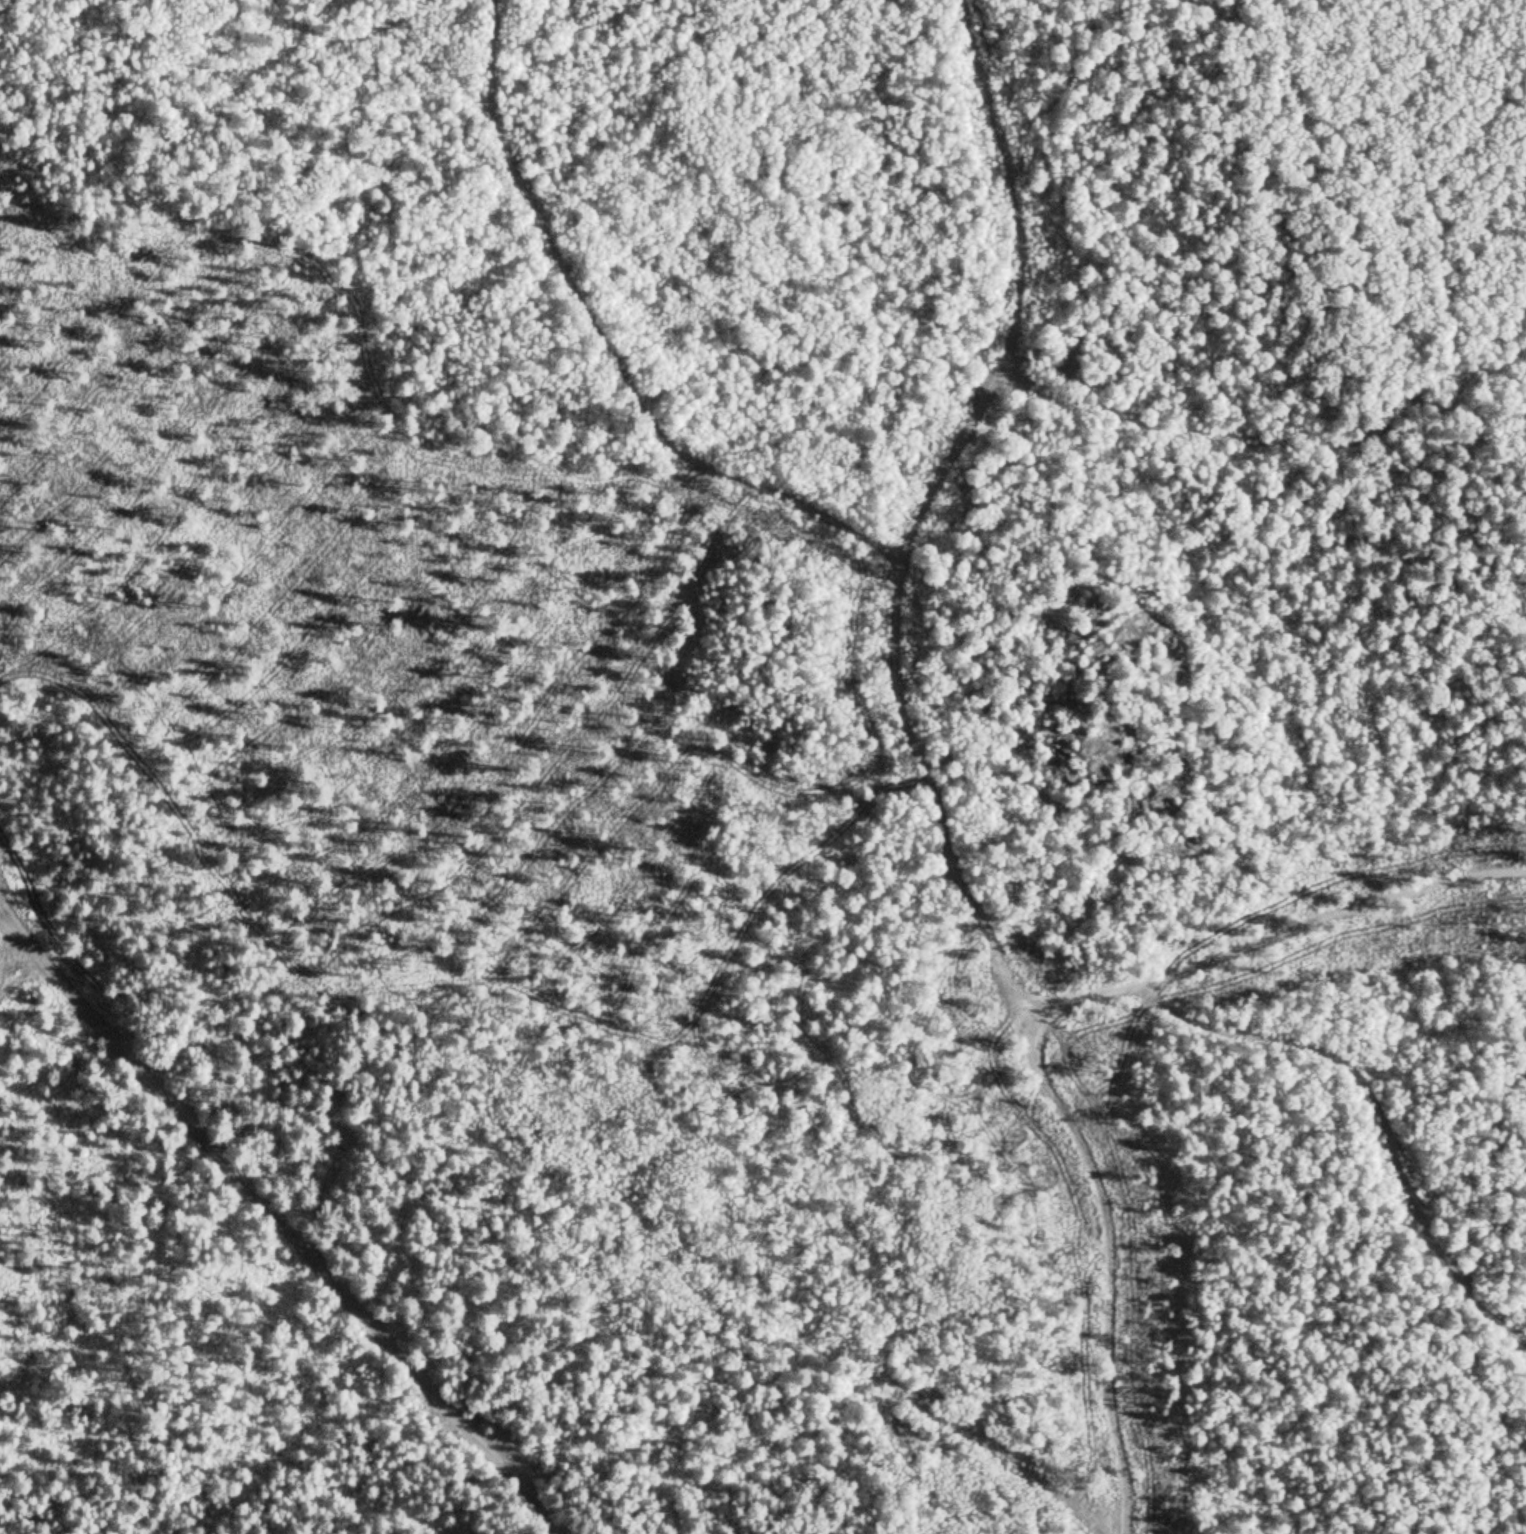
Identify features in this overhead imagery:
road: (606, 348)
road: (1057, 409)
road: (907, 711)
road: (1029, 993)
road: (1053, 1032)
road: (1377, 1111)
road: (281, 1223)

